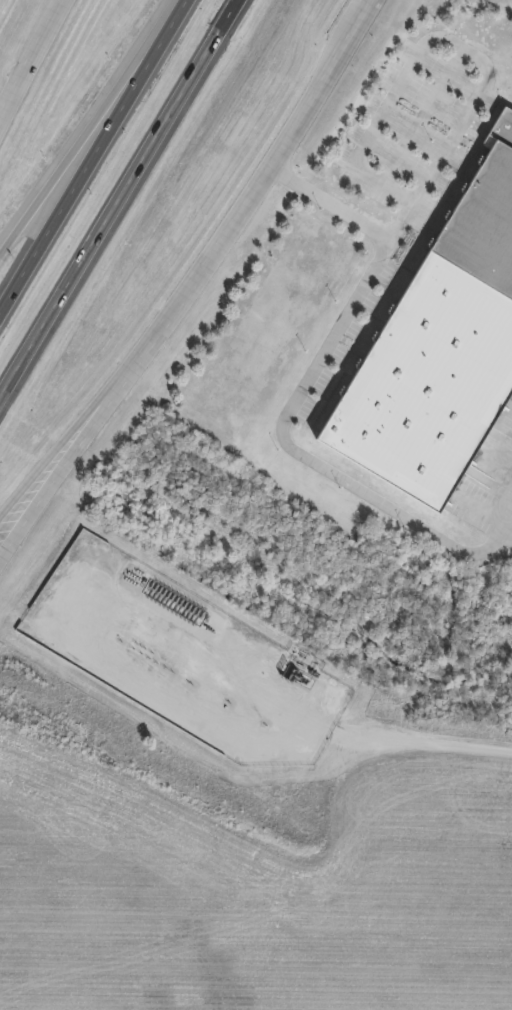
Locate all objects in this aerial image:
road: (180, 7)
road: (451, 46)
road: (34, 63)
road: (85, 131)
road: (88, 162)
road: (118, 199)
road: (245, 208)
building: (438, 346)
road: (294, 401)
road: (50, 461)
road: (50, 480)
road: (262, 695)
road: (421, 744)

